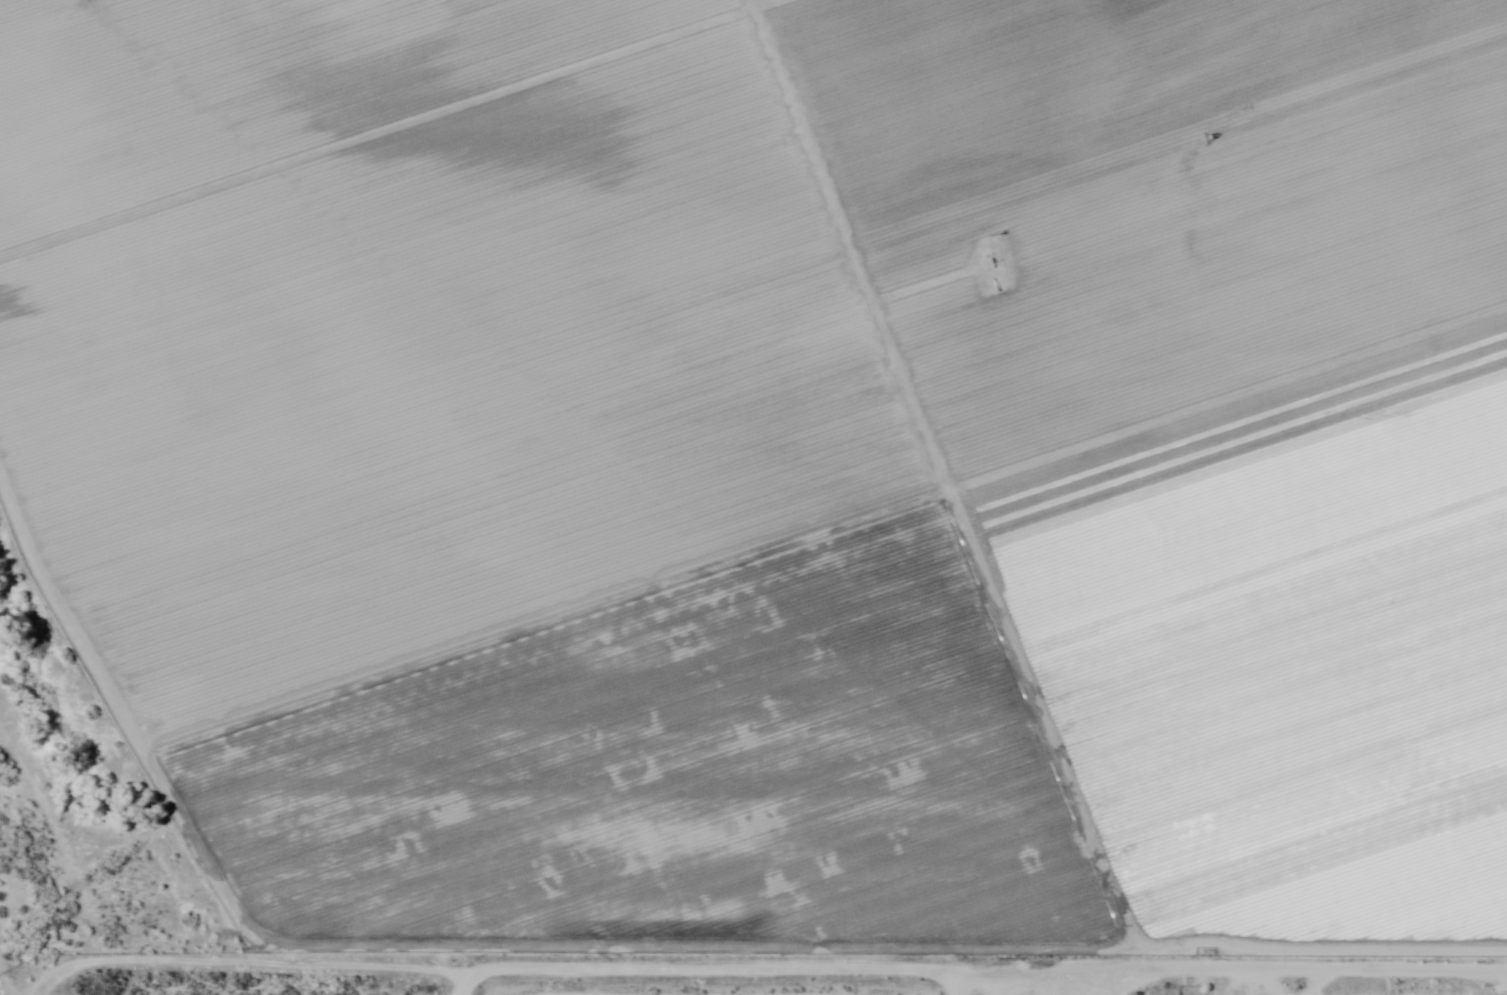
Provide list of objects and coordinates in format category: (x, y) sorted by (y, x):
crop: (788, 451)
road: (134, 976)
road: (620, 979)
road: (426, 986)
road: (582, 987)
road: (846, 987)
road: (1445, 987)
road: (1287, 989)

